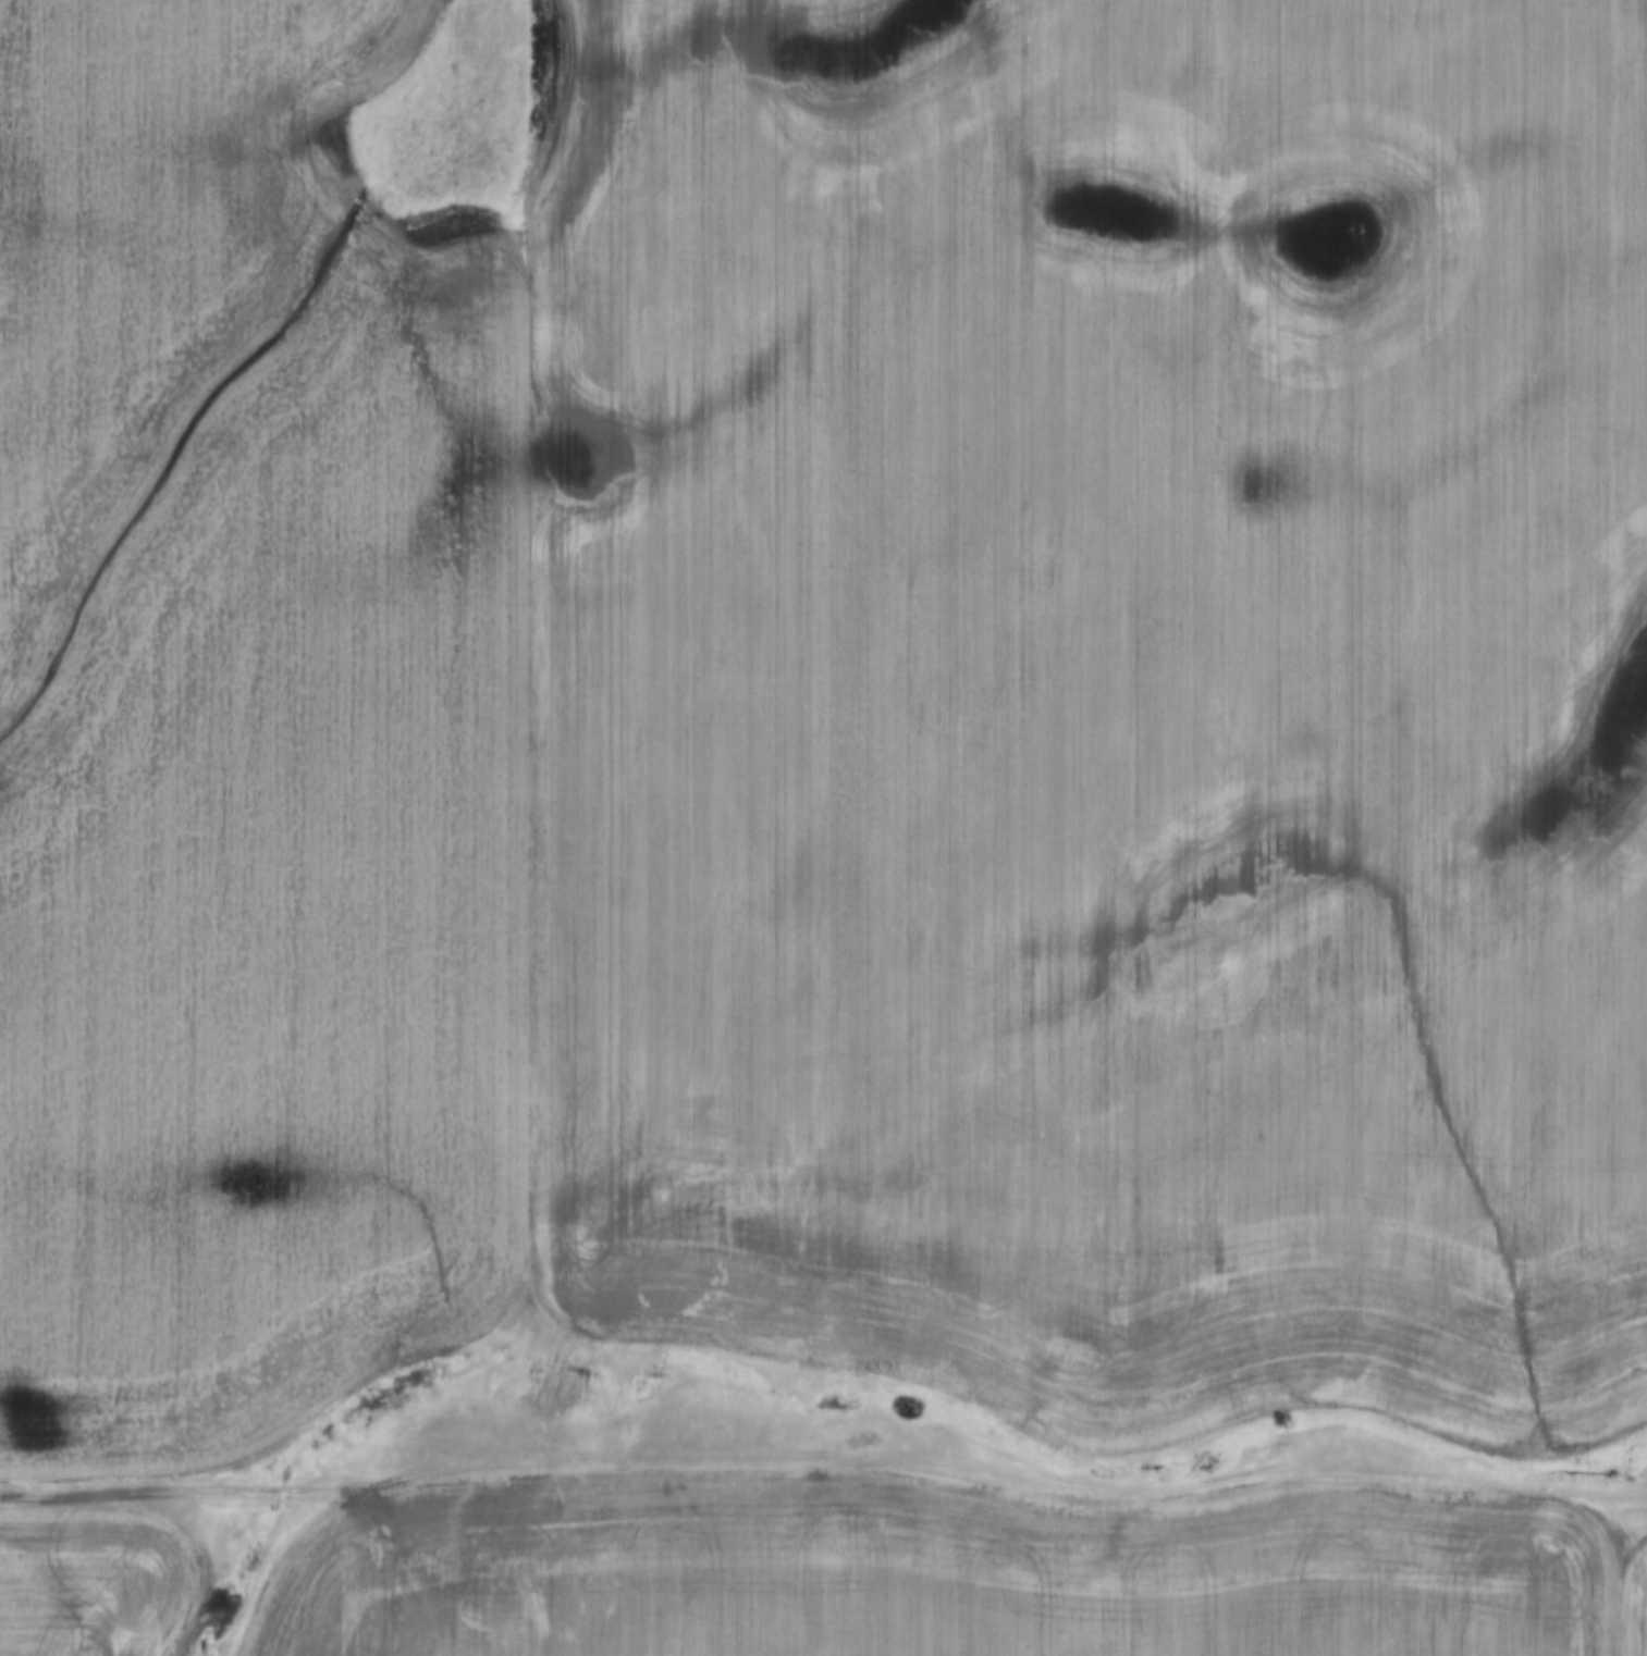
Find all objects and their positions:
road: (827, 1454)

